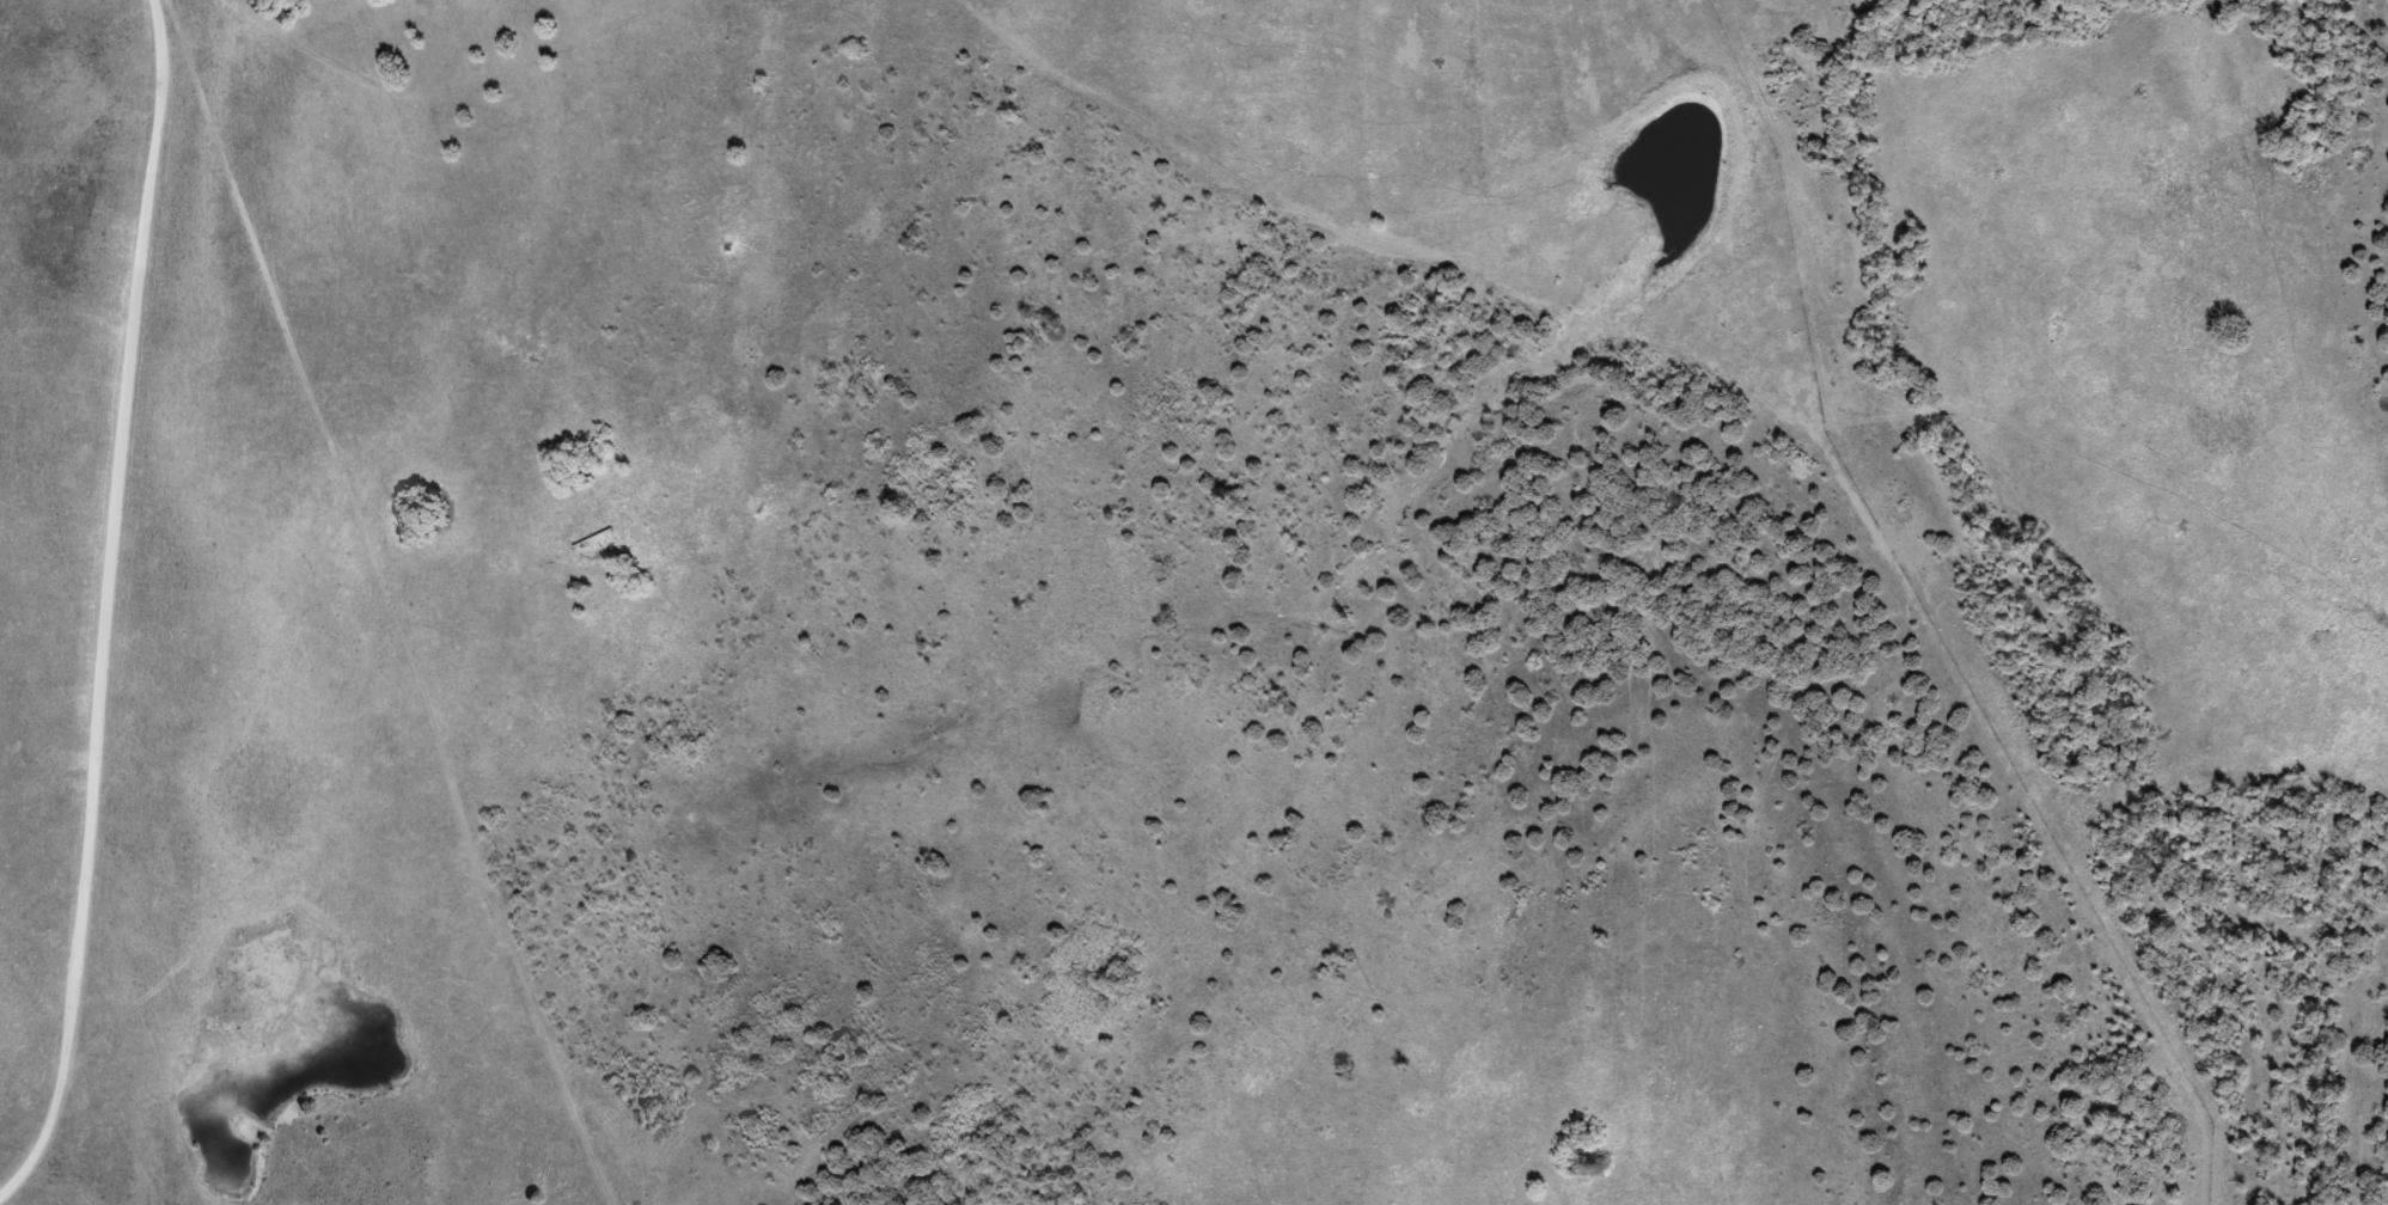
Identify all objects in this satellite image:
building: (596, 544)
road: (108, 602)
road: (320, 803)

